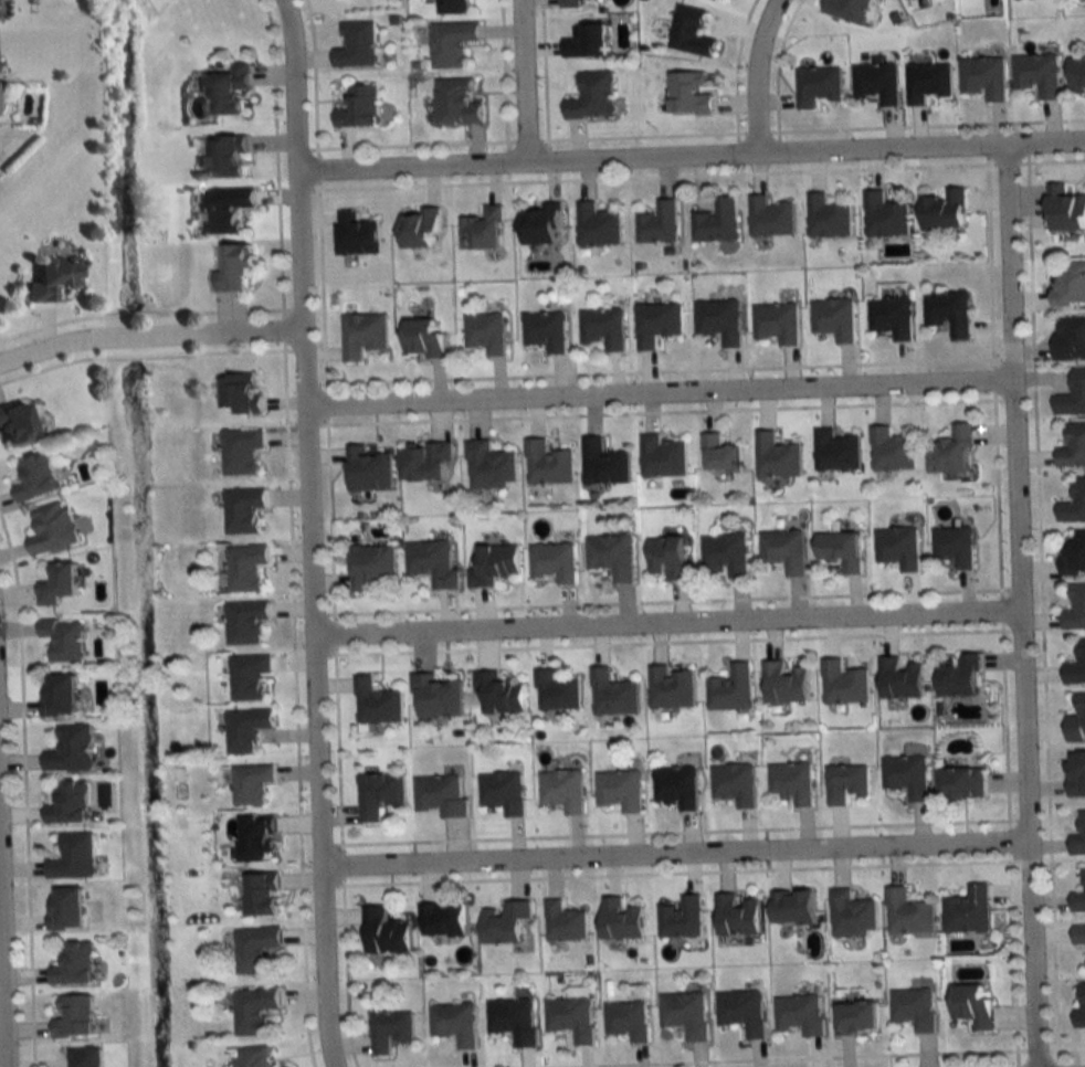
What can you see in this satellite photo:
building: (578, 2)
building: (453, 7)
building: (847, 9)
building: (689, 32)
building: (587, 41)
building: (452, 43)
building: (357, 45)
road: (775, 65)
road: (734, 68)
road: (542, 72)
road: (754, 72)
building: (1037, 74)
building: (983, 76)
building: (1076, 76)
road: (313, 77)
road: (522, 80)
building: (876, 82)
building: (926, 82)
building: (817, 85)
building: (228, 88)
building: (688, 93)
building: (592, 96)
building: (456, 102)
building: (360, 107)
road: (926, 124)
road: (755, 130)
road: (639, 134)
road: (525, 139)
road: (410, 144)
road: (689, 152)
building: (224, 156)
road: (276, 158)
road: (1051, 160)
road: (1004, 162)
road: (317, 168)
road: (651, 176)
building: (224, 209)
building: (1065, 209)
building: (945, 211)
building: (884, 215)
building: (828, 216)
building: (769, 218)
building: (716, 222)
building: (659, 224)
building: (540, 226)
building: (598, 226)
building: (421, 229)
building: (483, 230)
building: (358, 234)
road: (989, 261)
building: (231, 267)
building: (51, 278)
building: (1071, 283)
road: (322, 285)
road: (239, 309)
road: (147, 311)
building: (949, 313)
building: (892, 317)
building: (833, 318)
building: (719, 321)
road: (51, 323)
building: (776, 323)
building: (656, 325)
road: (282, 328)
building: (604, 328)
building: (546, 331)
building: (487, 332)
road: (149, 334)
building: (364, 335)
building: (423, 337)
building: (1070, 337)
road: (144, 353)
road: (659, 370)
road: (992, 379)
road: (659, 391)
building: (241, 393)
building: (1073, 395)
road: (326, 403)
road: (662, 411)
building: (13, 425)
building: (1073, 446)
building: (892, 450)
building: (241, 451)
building: (835, 451)
building: (952, 452)
building: (720, 455)
building: (663, 456)
building: (777, 457)
building: (425, 461)
building: (548, 464)
building: (604, 464)
building: (491, 466)
building: (368, 469)
building: (34, 477)
road: (997, 494)
building: (1074, 503)
building: (243, 509)
road: (329, 518)
building: (50, 529)
road: (309, 532)
building: (899, 547)
building: (955, 547)
building: (842, 550)
building: (784, 551)
building: (1075, 552)
building: (613, 557)
building: (726, 557)
building: (667, 559)
building: (555, 562)
building: (432, 563)
building: (494, 564)
building: (245, 567)
building: (372, 567)
building: (56, 584)
road: (666, 600)
road: (1019, 604)
road: (1041, 608)
road: (1001, 609)
building: (1075, 609)
road: (666, 621)
building: (245, 622)
road: (334, 634)
building: (62, 640)
road: (667, 641)
building: (1076, 668)
building: (249, 677)
building: (960, 677)
building: (902, 679)
building: (784, 684)
building: (844, 684)
building: (672, 688)
building: (733, 689)
building: (557, 691)
building: (499, 694)
building: (59, 695)
building: (613, 695)
building: (435, 697)
road: (295, 704)
building: (377, 704)
building: (1076, 722)
road: (1005, 723)
building: (245, 729)
road: (337, 748)
building: (70, 750)
building: (1076, 774)
building: (907, 775)
building: (792, 783)
building: (846, 783)
building: (251, 784)
building: (735, 784)
building: (962, 784)
building: (677, 788)
road: (23, 791)
building: (563, 791)
building: (620, 791)
building: (503, 793)
building: (379, 795)
building: (441, 795)
building: (67, 804)
road: (674, 832)
building: (1078, 836)
road: (1009, 838)
building: (256, 839)
road: (673, 851)
building: (73, 857)
road: (340, 864)
road: (675, 871)
building: (262, 895)
building: (1079, 900)
building: (793, 908)
building: (65, 909)
building: (969, 911)
building: (909, 913)
building: (737, 916)
building: (852, 916)
building: (682, 918)
building: (442, 920)
building: (621, 920)
building: (505, 922)
building: (565, 923)
building: (385, 932)
building: (1079, 936)
building: (255, 949)
road: (1013, 957)
building: (73, 965)
road: (344, 972)
building: (1082, 1004)
building: (973, 1005)
building: (254, 1010)
building: (915, 1010)
building: (744, 1012)
building: (686, 1014)
building: (801, 1015)
building: (73, 1016)
building: (571, 1018)
building: (857, 1018)
building: (514, 1021)
building: (628, 1021)
building: (455, 1024)
road: (1, 1031)
building: (390, 1031)
road: (1066, 1046)
road: (1035, 1047)
building: (85, 1057)
building: (252, 1057)
road: (783, 1057)

